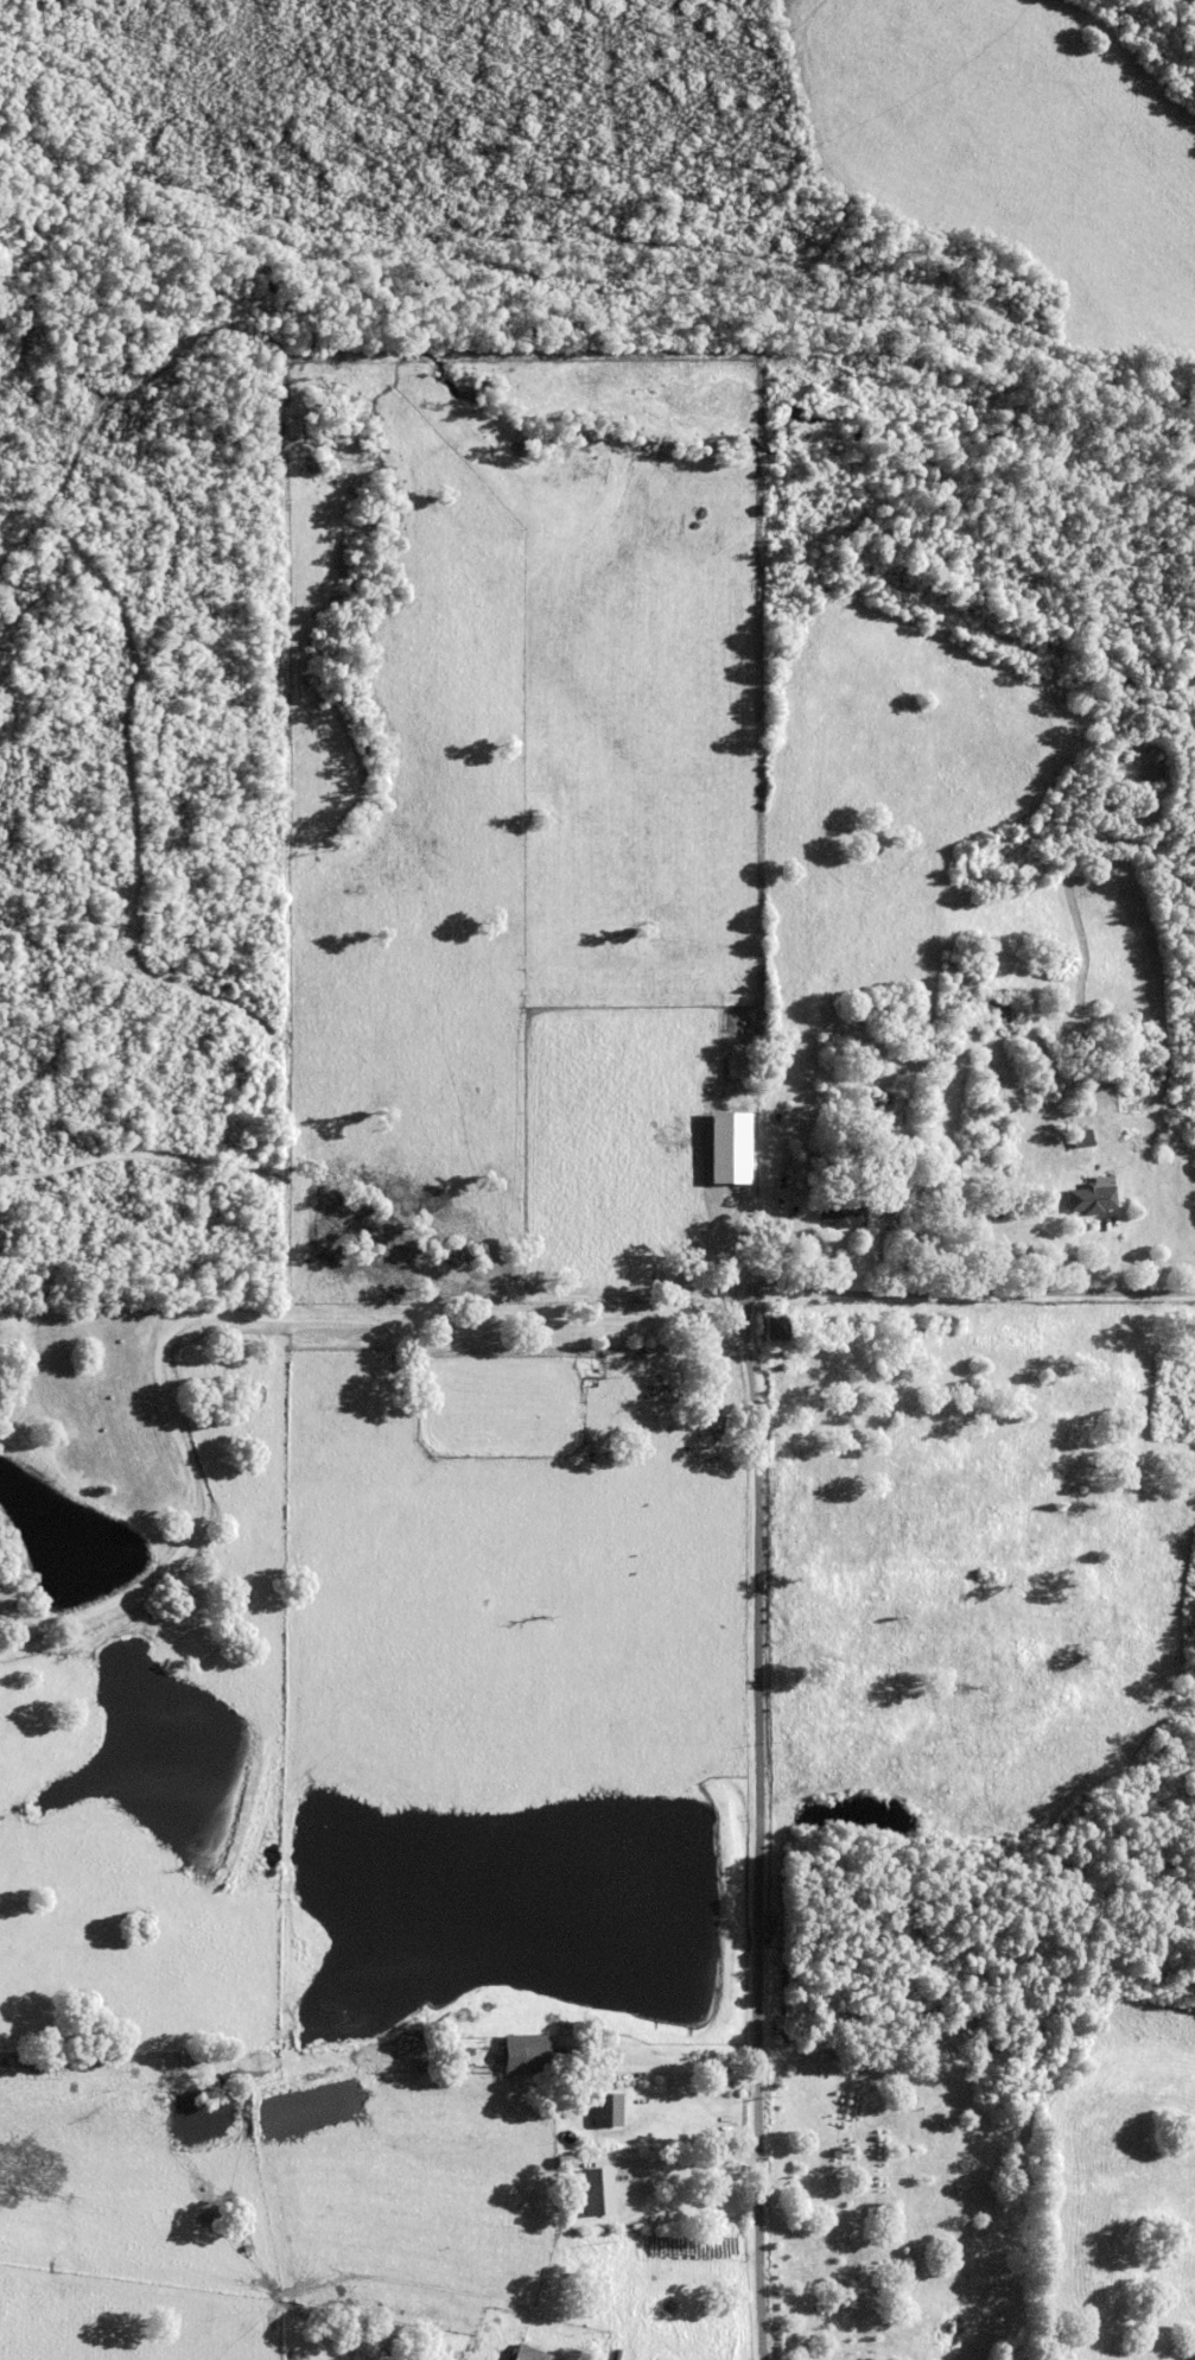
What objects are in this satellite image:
building: (992, 1002)
building: (852, 1057)
building: (1081, 1136)
building: (733, 1146)
building: (838, 1159)
building: (966, 1161)
building: (794, 1162)
building: (792, 1174)
building: (1089, 1197)
building: (840, 1211)
road: (481, 1319)
building: (776, 1325)
road: (754, 1846)
building: (464, 2050)
building: (526, 2051)
road: (673, 2070)
building: (604, 2108)
road: (688, 2158)
building: (562, 2162)
building: (595, 2190)
building: (568, 2193)
building: (528, 2353)

